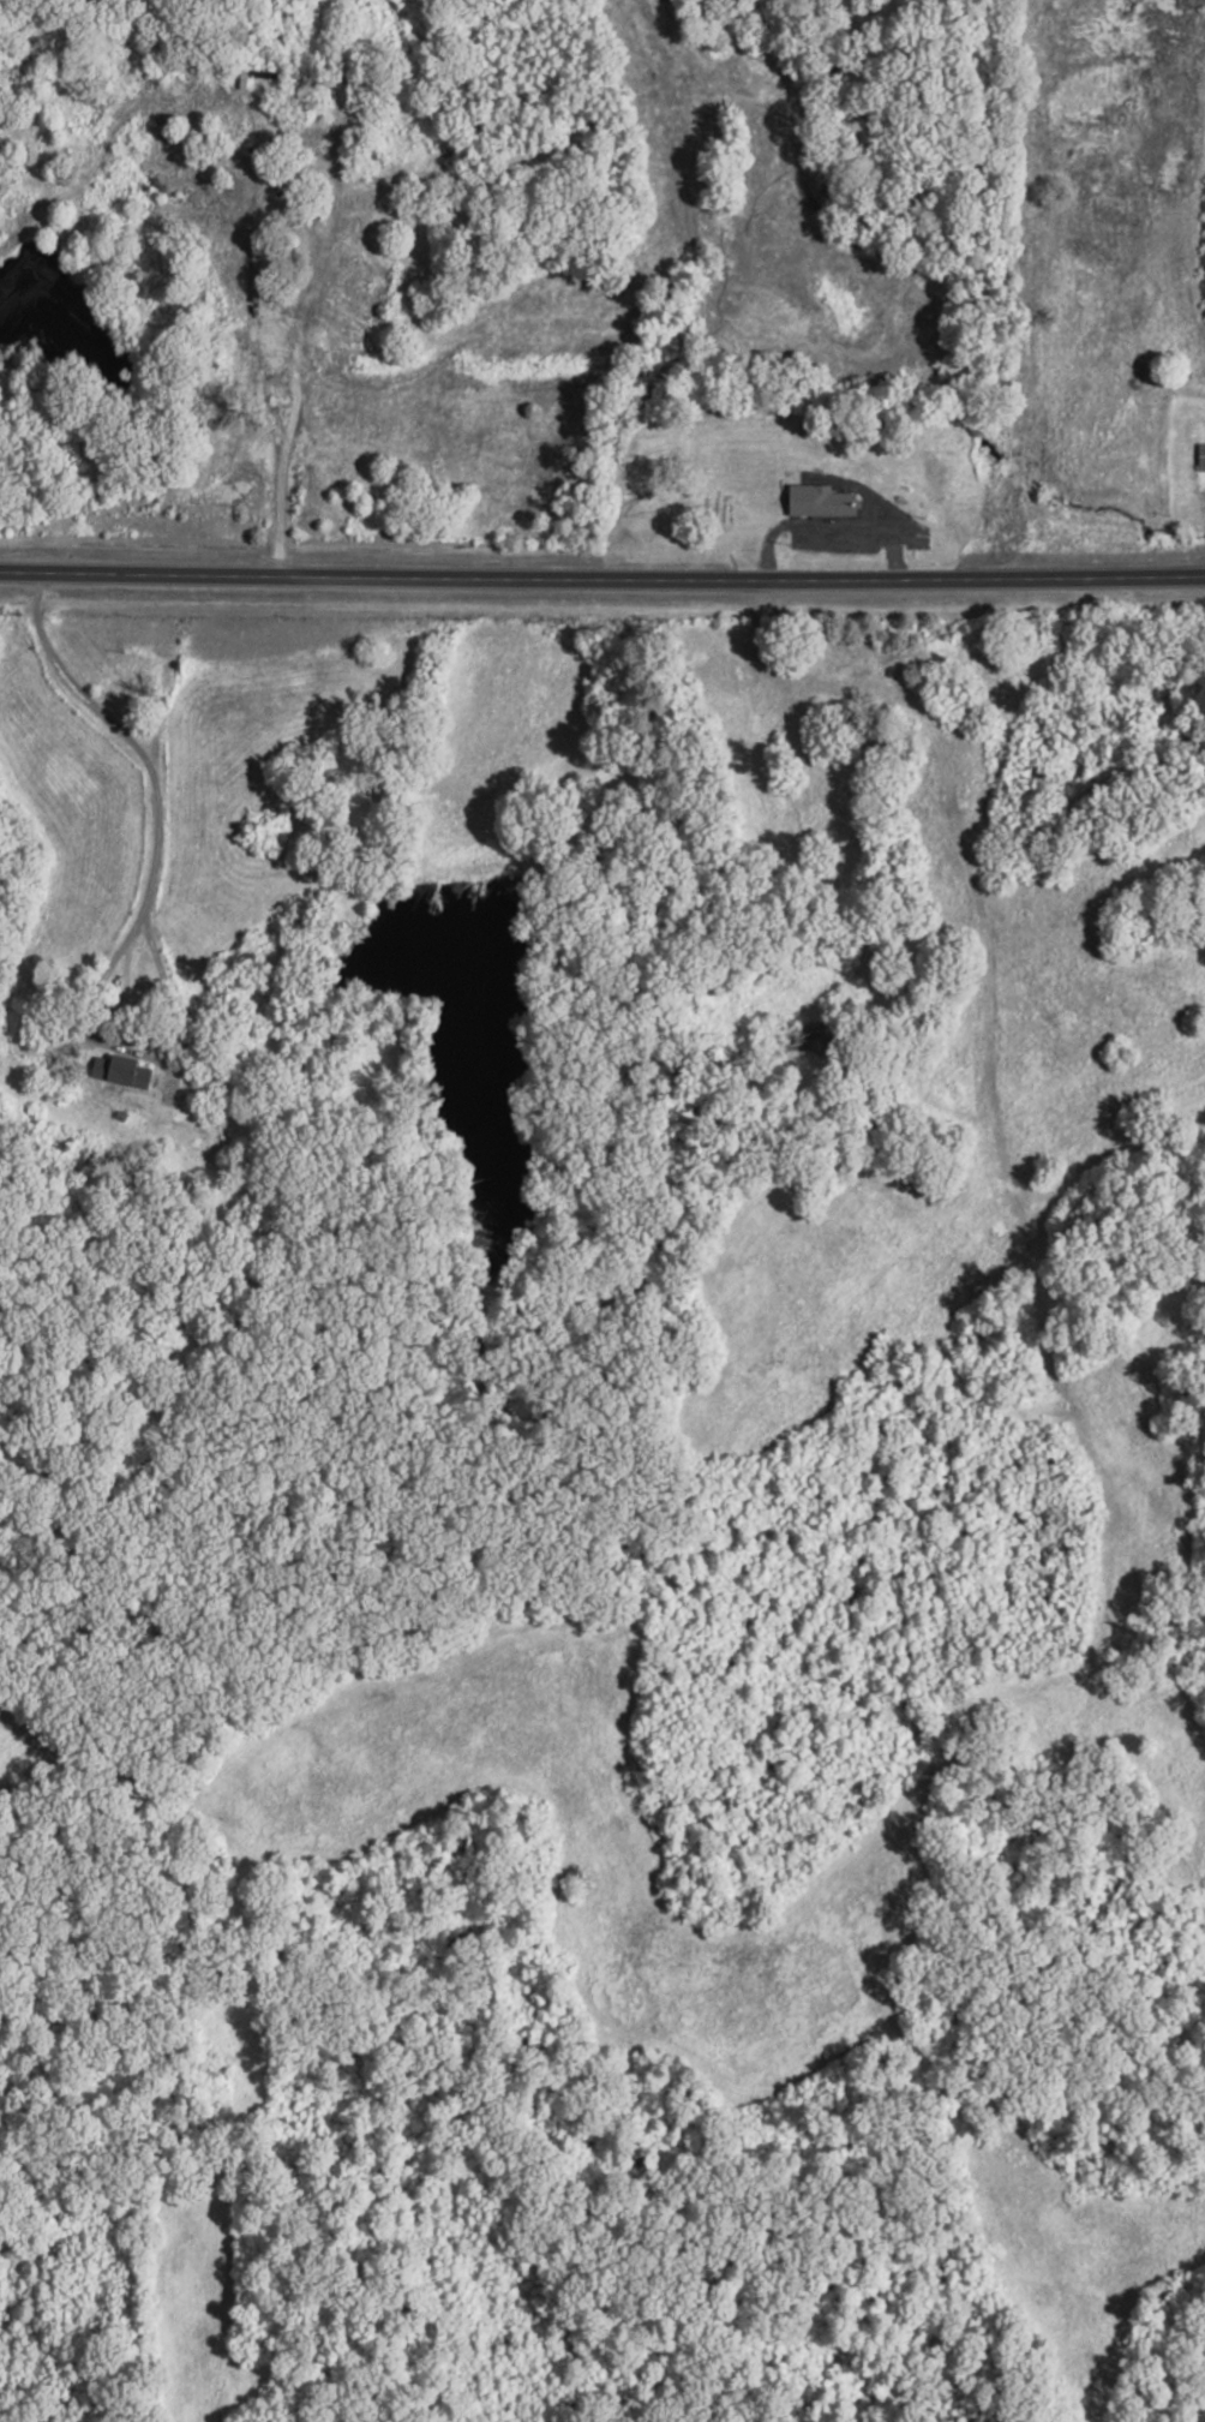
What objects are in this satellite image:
road: (310, 287)
building: (1200, 458)
building: (817, 502)
parking lot: (898, 516)
road: (827, 527)
parking lot: (832, 544)
road: (601, 580)
road: (137, 917)
building: (118, 1071)

